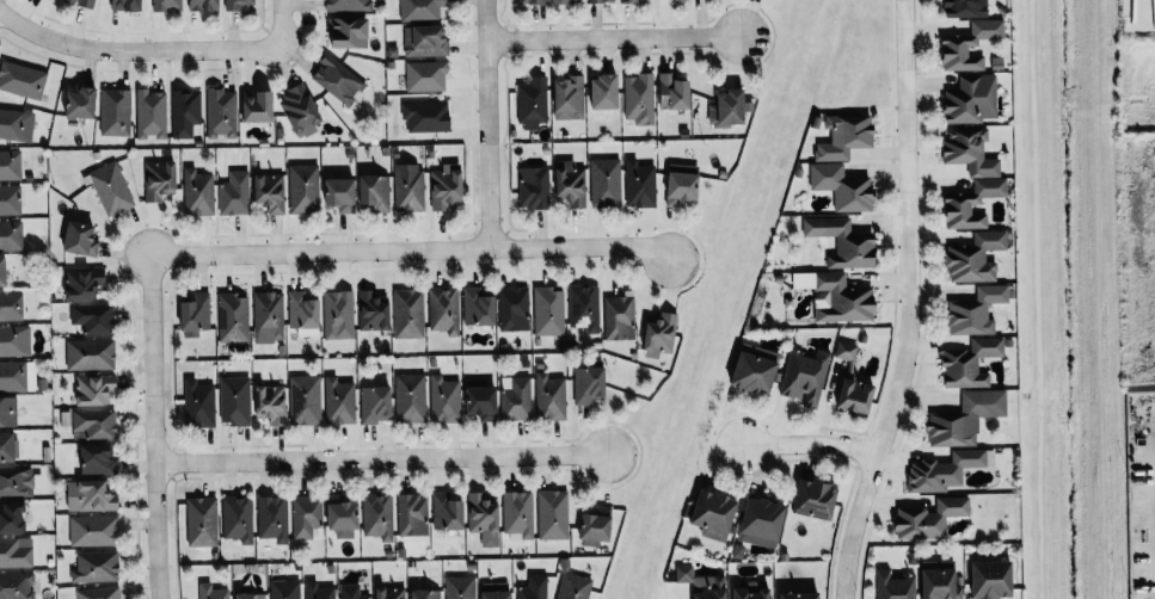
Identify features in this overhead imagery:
building: (601, 0)
building: (631, 0)
building: (534, 1)
building: (560, 1)
building: (84, 2)
building: (128, 4)
building: (166, 5)
building: (205, 5)
building: (239, 5)
building: (346, 5)
building: (966, 8)
building: (422, 10)
building: (1149, 13)
road: (276, 21)
building: (349, 31)
road: (614, 37)
building: (426, 39)
building: (970, 44)
road: (130, 50)
building: (425, 75)
building: (23, 79)
building: (339, 79)
building: (607, 91)
building: (675, 92)
building: (571, 97)
building: (640, 98)
building: (972, 99)
building: (84, 101)
building: (533, 101)
building: (730, 107)
building: (302, 110)
building: (185, 111)
building: (222, 111)
building: (116, 112)
building: (152, 113)
building: (426, 116)
road: (487, 122)
building: (17, 124)
building: (847, 136)
building: (11, 165)
building: (972, 177)
building: (160, 179)
building: (572, 183)
building: (606, 183)
building: (640, 184)
building: (684, 184)
building: (447, 186)
building: (534, 186)
building: (844, 186)
building: (410, 187)
building: (111, 189)
building: (305, 189)
building: (271, 191)
building: (376, 191)
building: (199, 192)
building: (235, 193)
building: (343, 193)
building: (11, 199)
building: (11, 234)
building: (82, 237)
building: (846, 241)
road: (412, 247)
building: (977, 257)
building: (4, 270)
building: (85, 283)
building: (838, 296)
road: (909, 303)
building: (12, 304)
building: (480, 307)
building: (585, 307)
building: (515, 308)
building: (305, 309)
building: (444, 309)
building: (549, 310)
building: (977, 310)
building: (374, 311)
building: (410, 313)
building: (196, 314)
building: (339, 314)
building: (269, 316)
building: (93, 317)
building: (234, 317)
building: (619, 317)
building: (662, 334)
building: (16, 340)
building: (847, 350)
building: (91, 354)
building: (972, 363)
building: (758, 369)
building: (17, 375)
building: (807, 376)
building: (590, 384)
building: (94, 389)
building: (858, 395)
building: (411, 397)
building: (551, 397)
building: (446, 399)
building: (517, 399)
building: (235, 400)
building: (305, 400)
building: (484, 400)
building: (339, 401)
building: (199, 403)
building: (272, 403)
building: (376, 403)
building: (8, 412)
building: (966, 418)
building: (94, 425)
road: (153, 428)
road: (810, 443)
building: (8, 446)
road: (381, 457)
building: (99, 459)
building: (948, 469)
building: (17, 481)
building: (92, 495)
building: (818, 499)
building: (448, 512)
building: (520, 513)
building: (413, 514)
building: (554, 514)
building: (717, 514)
building: (306, 515)
building: (379, 515)
building: (12, 517)
building: (345, 517)
building: (239, 518)
building: (274, 518)
building: (930, 518)
building: (485, 519)
building: (202, 521)
building: (763, 521)
building: (597, 525)
building: (93, 530)
building: (16, 551)
building: (97, 566)
building: (941, 579)
building: (995, 579)
building: (705, 583)
building: (16, 585)
building: (575, 586)
building: (895, 586)
building: (460, 587)
building: (534, 587)
building: (285, 588)
building: (497, 589)
building: (319, 591)
building: (213, 592)
building: (351, 592)
building: (99, 593)
building: (392, 593)
building: (426, 593)
building: (252, 595)
building: (801, 595)

